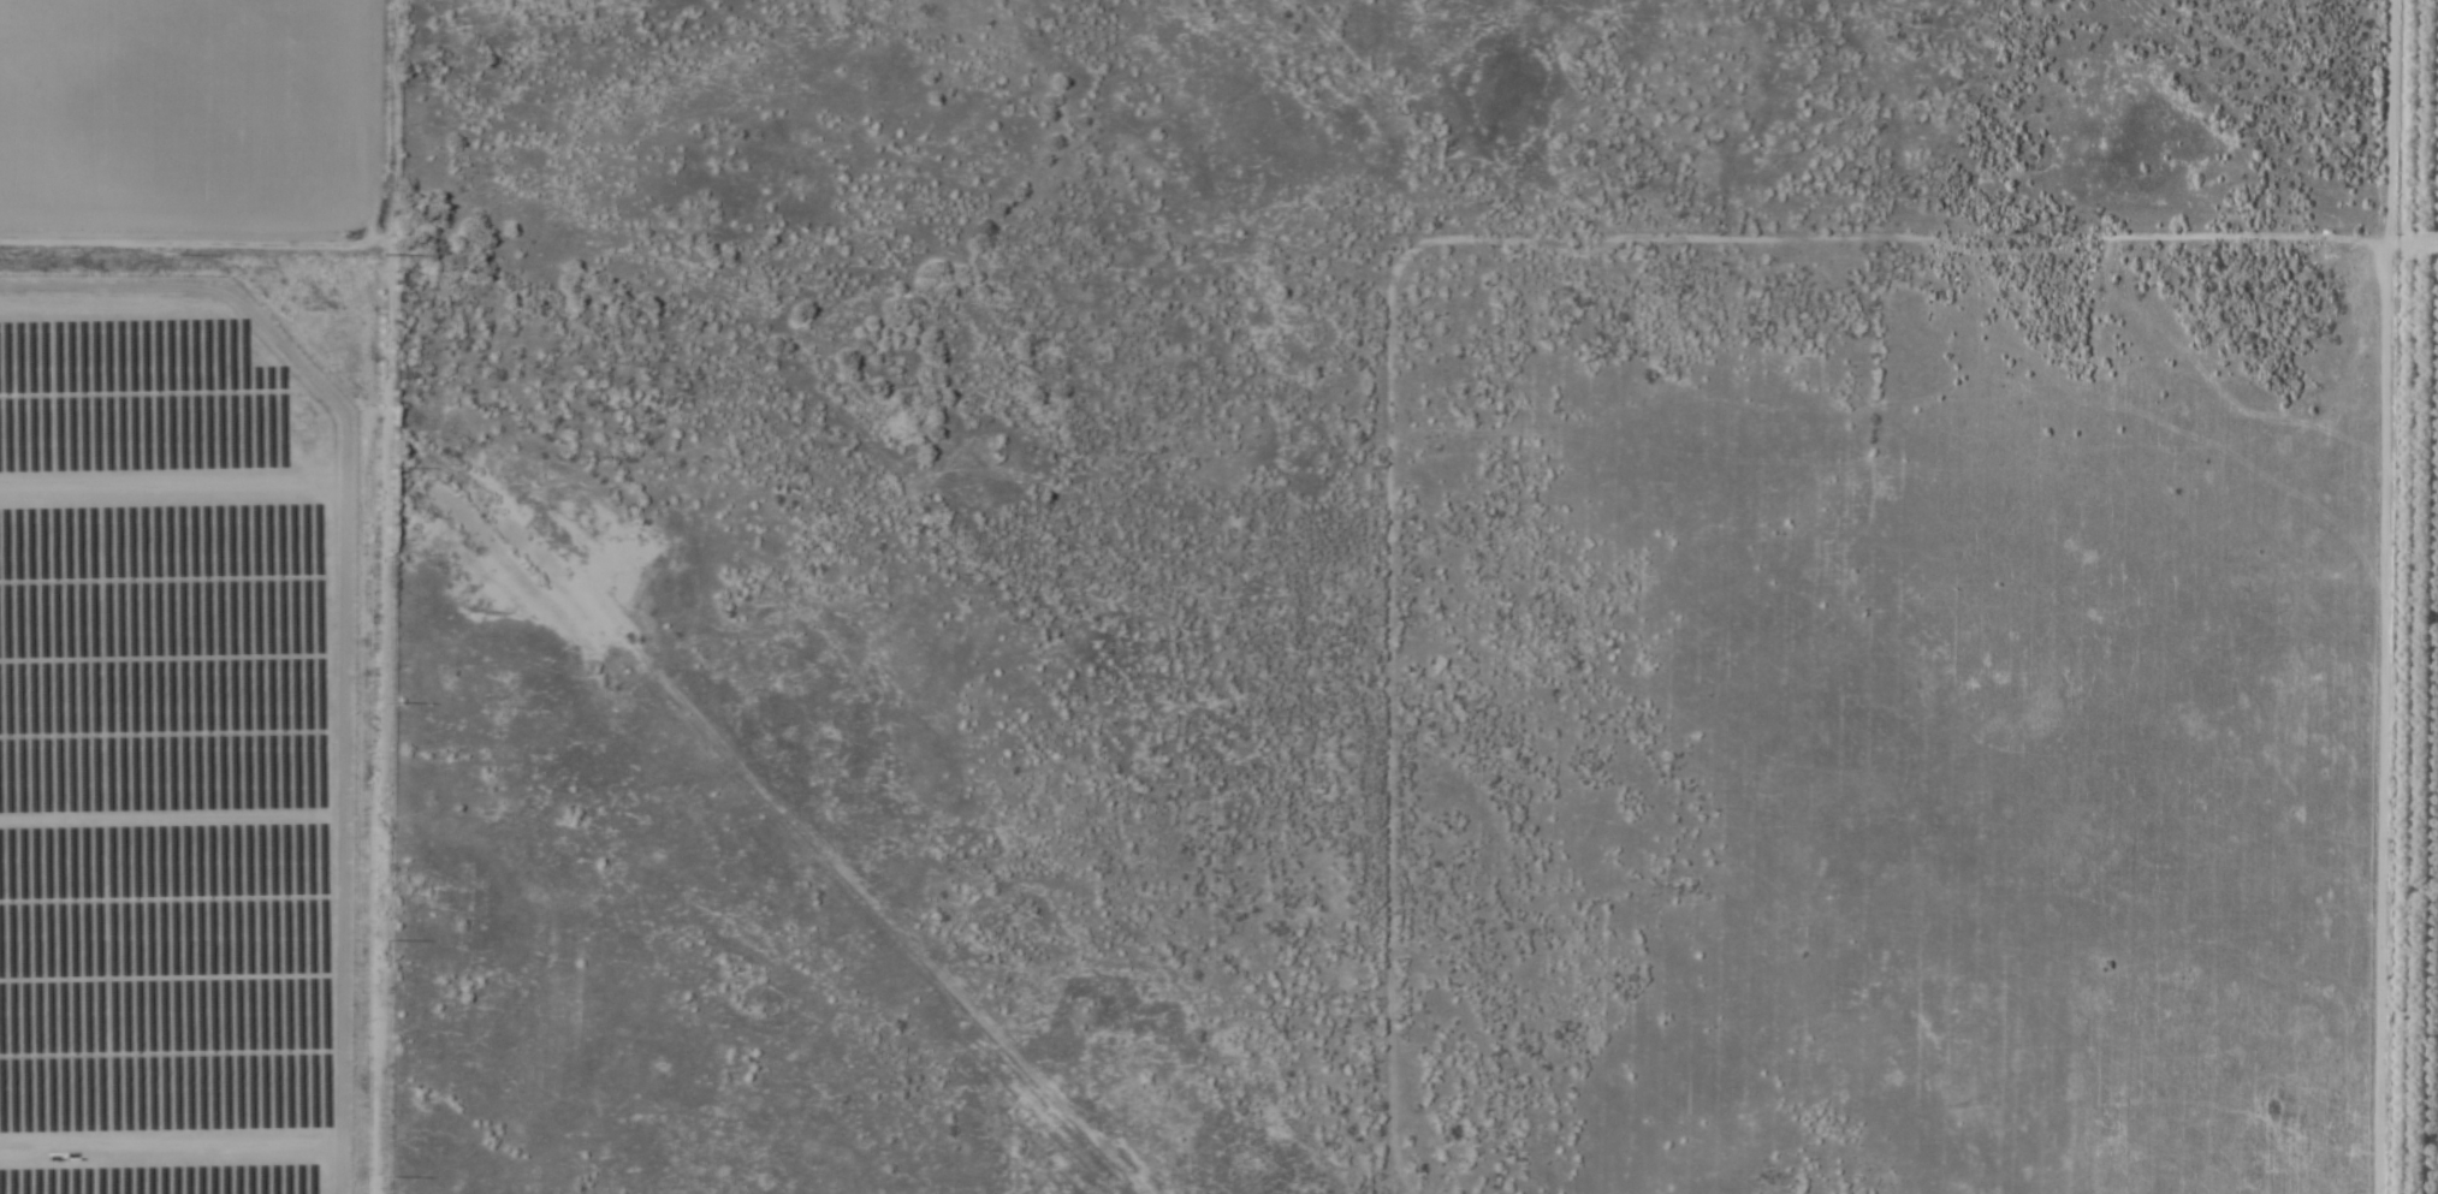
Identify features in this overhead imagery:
crop: (198, 123)
solar farm: (174, 741)

